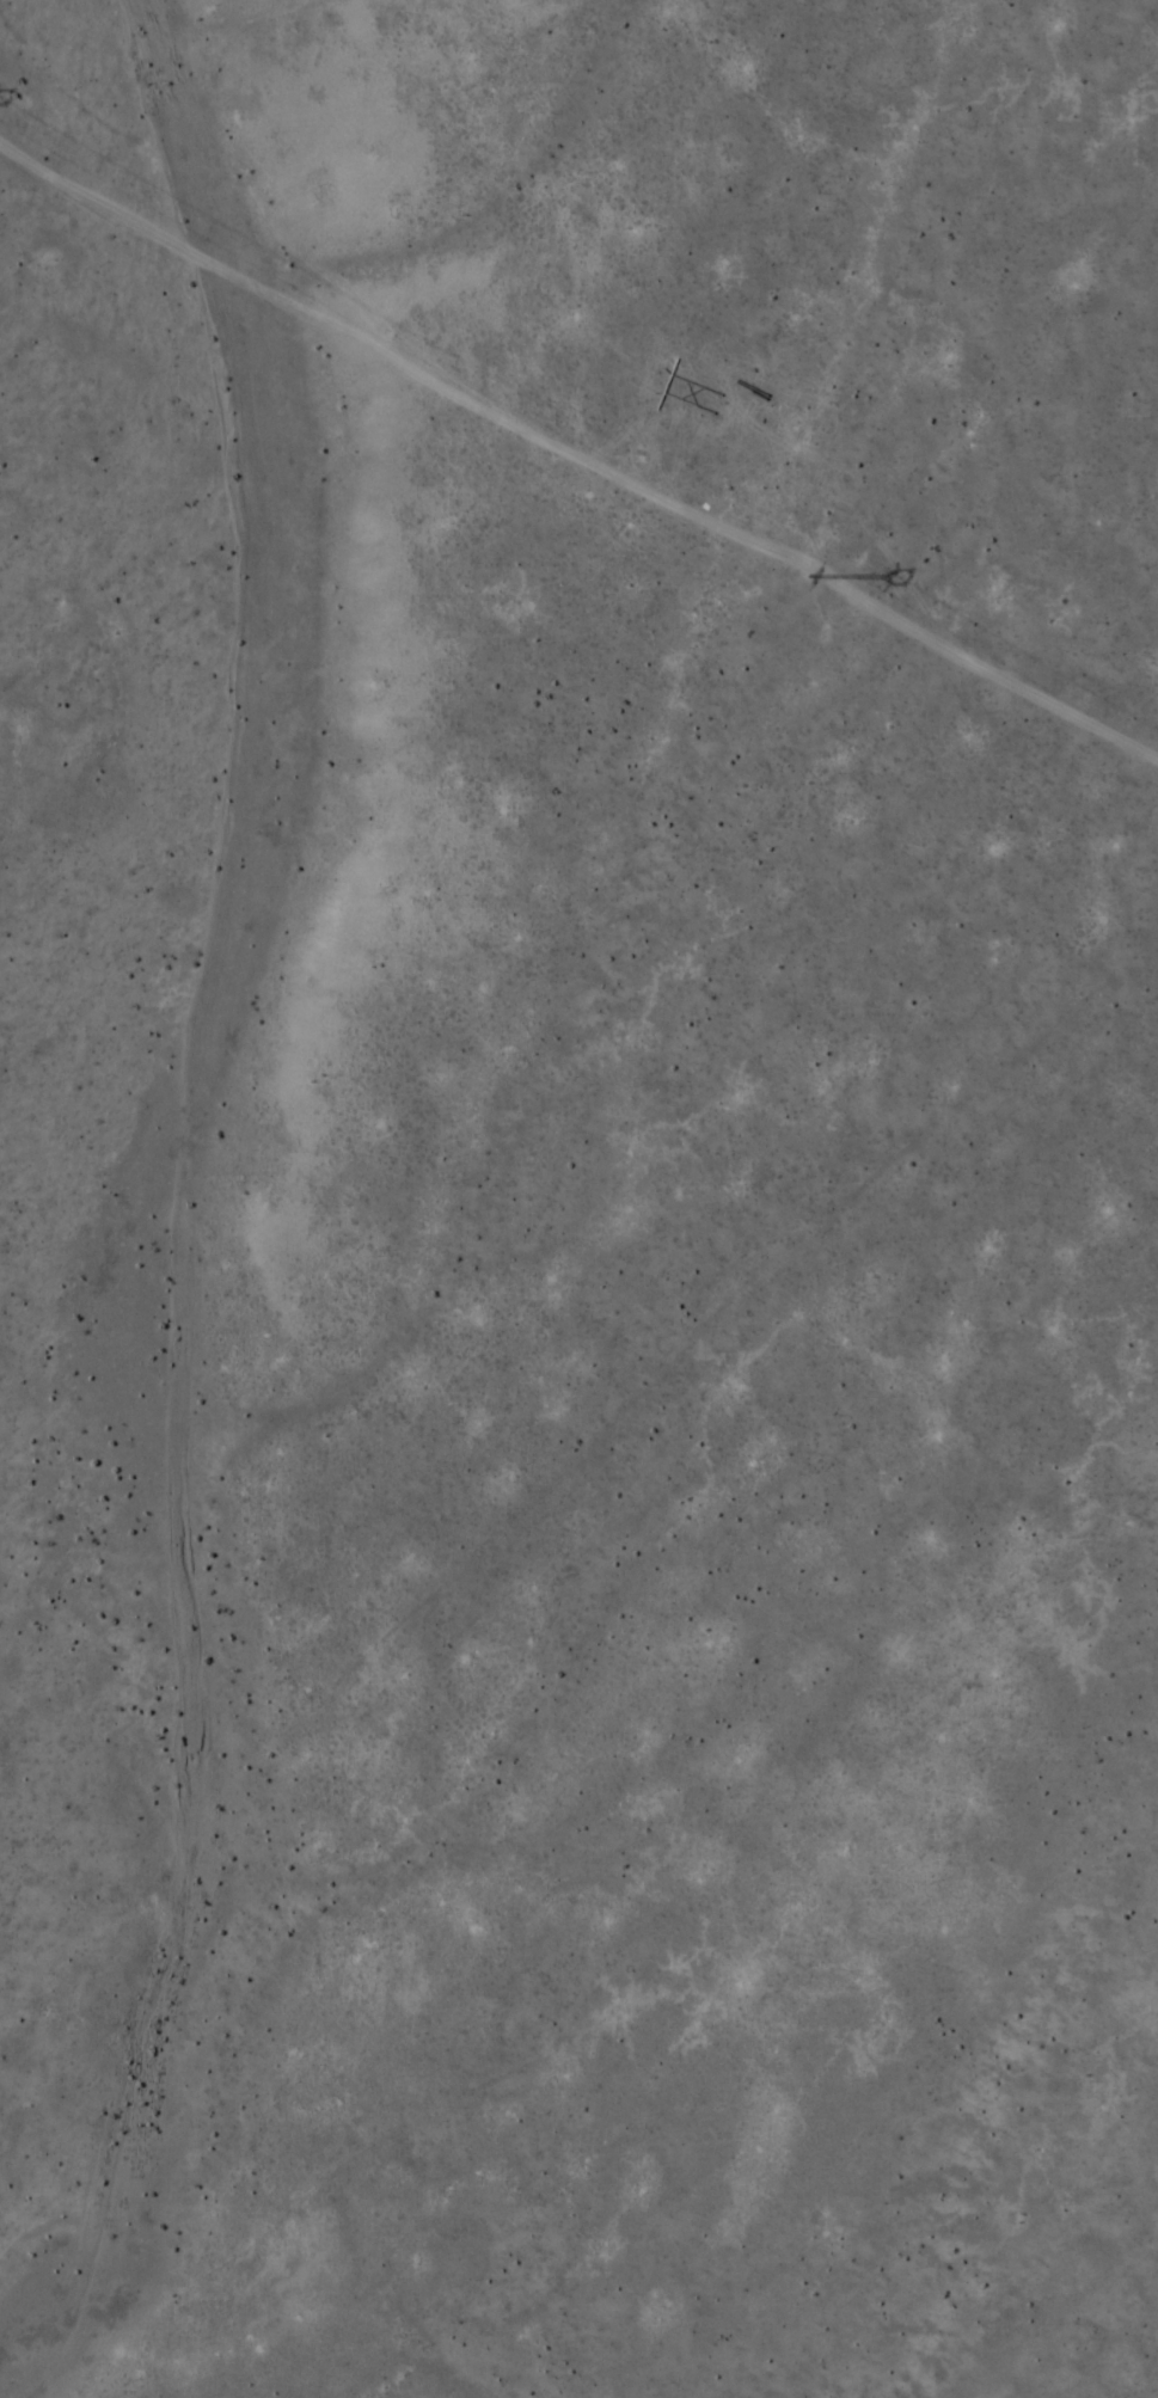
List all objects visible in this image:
power tower: (808, 577)

